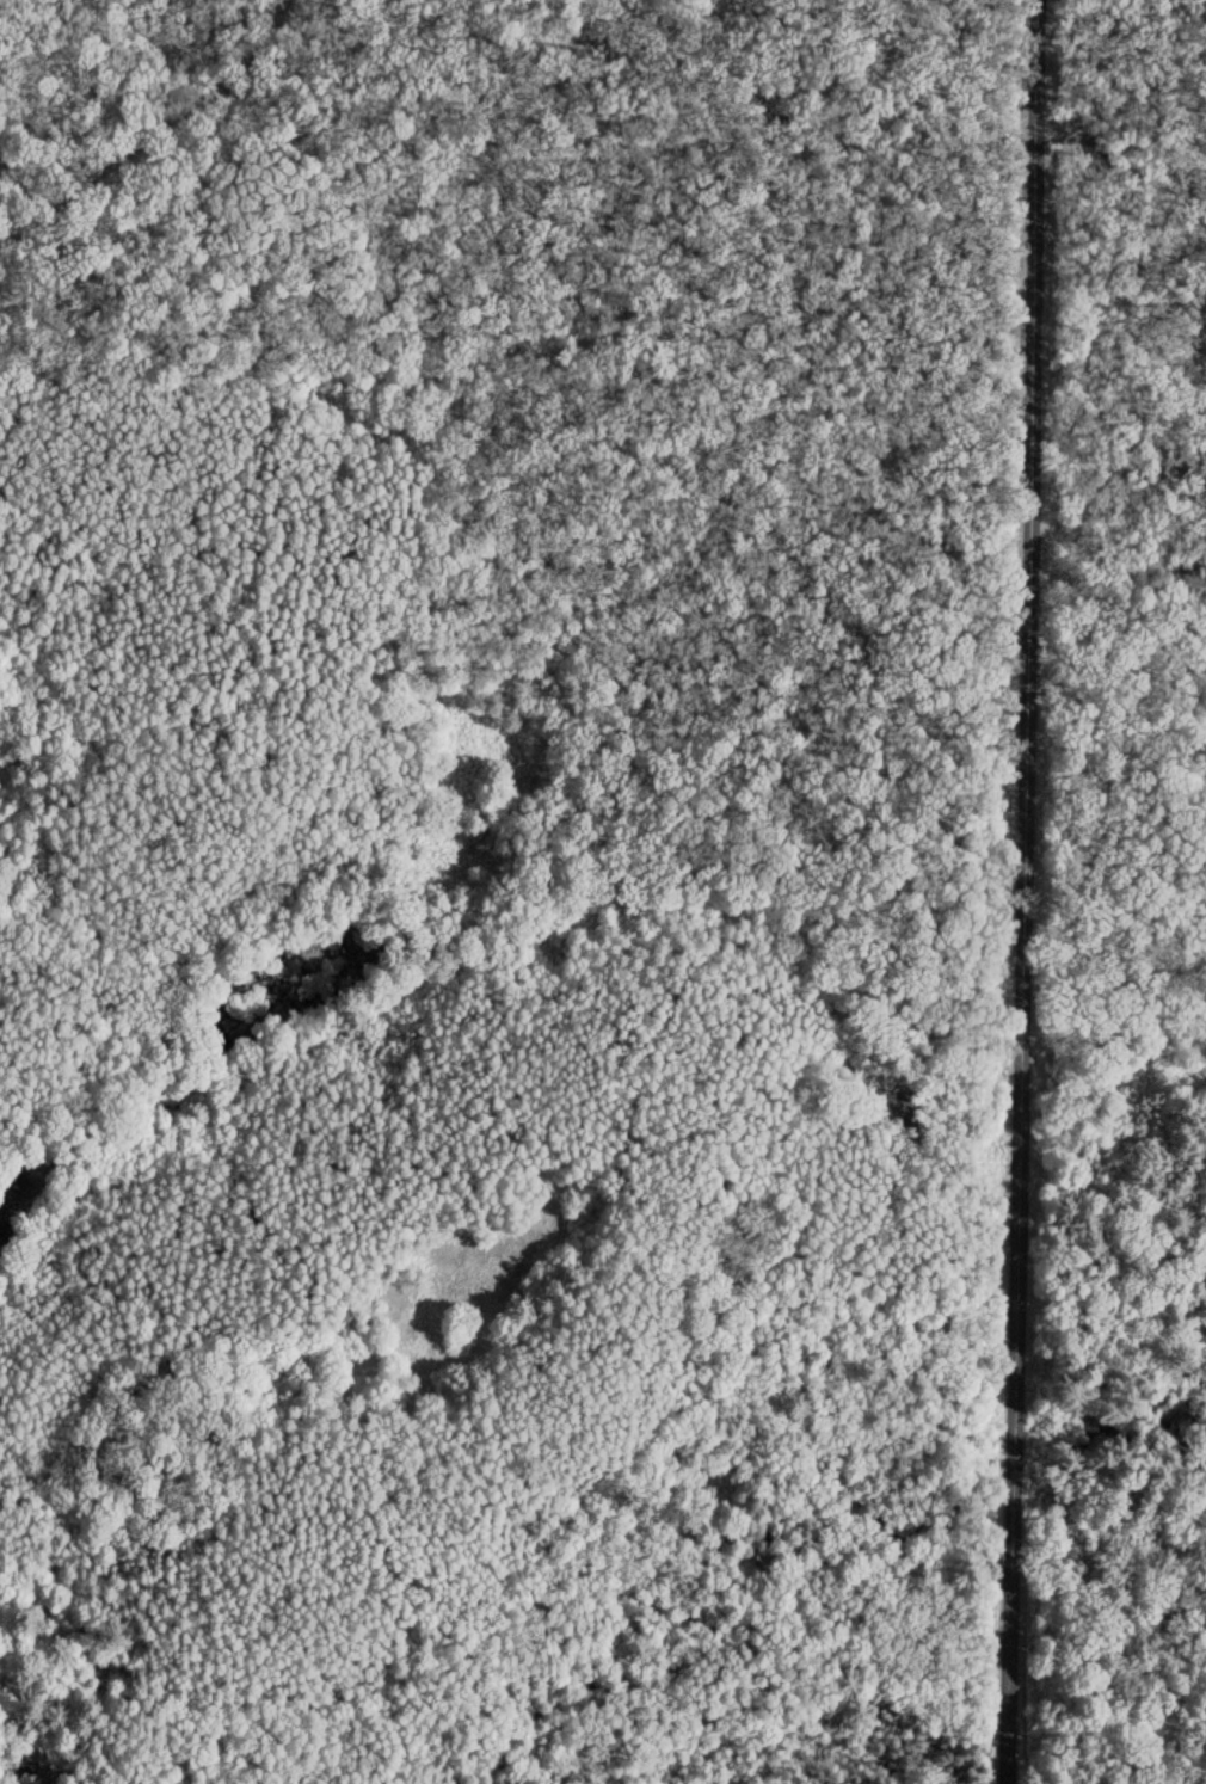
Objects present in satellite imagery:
road: (156, 135)
road: (1118, 176)
road: (1022, 701)
road: (1014, 1444)
road: (1011, 1634)

